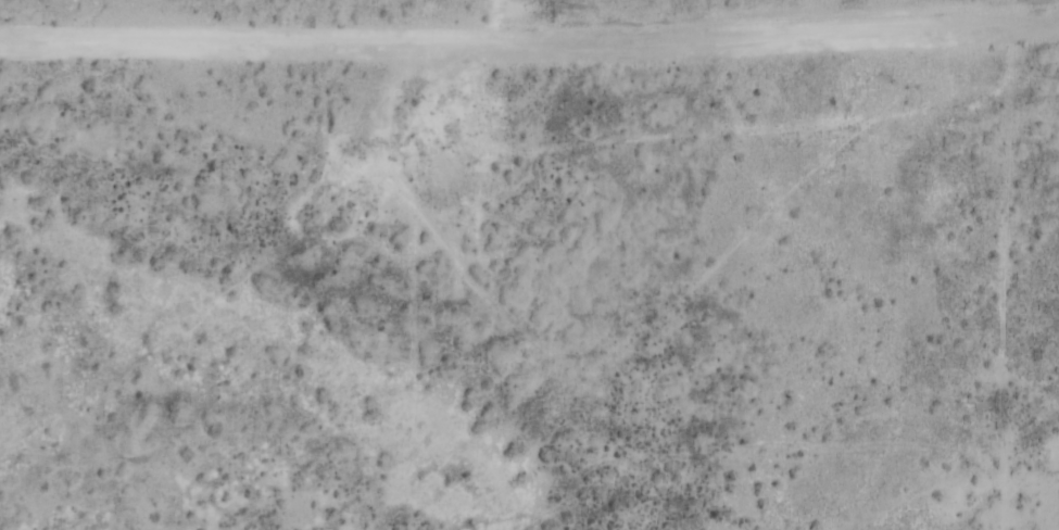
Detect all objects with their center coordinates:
road: (982, 264)

